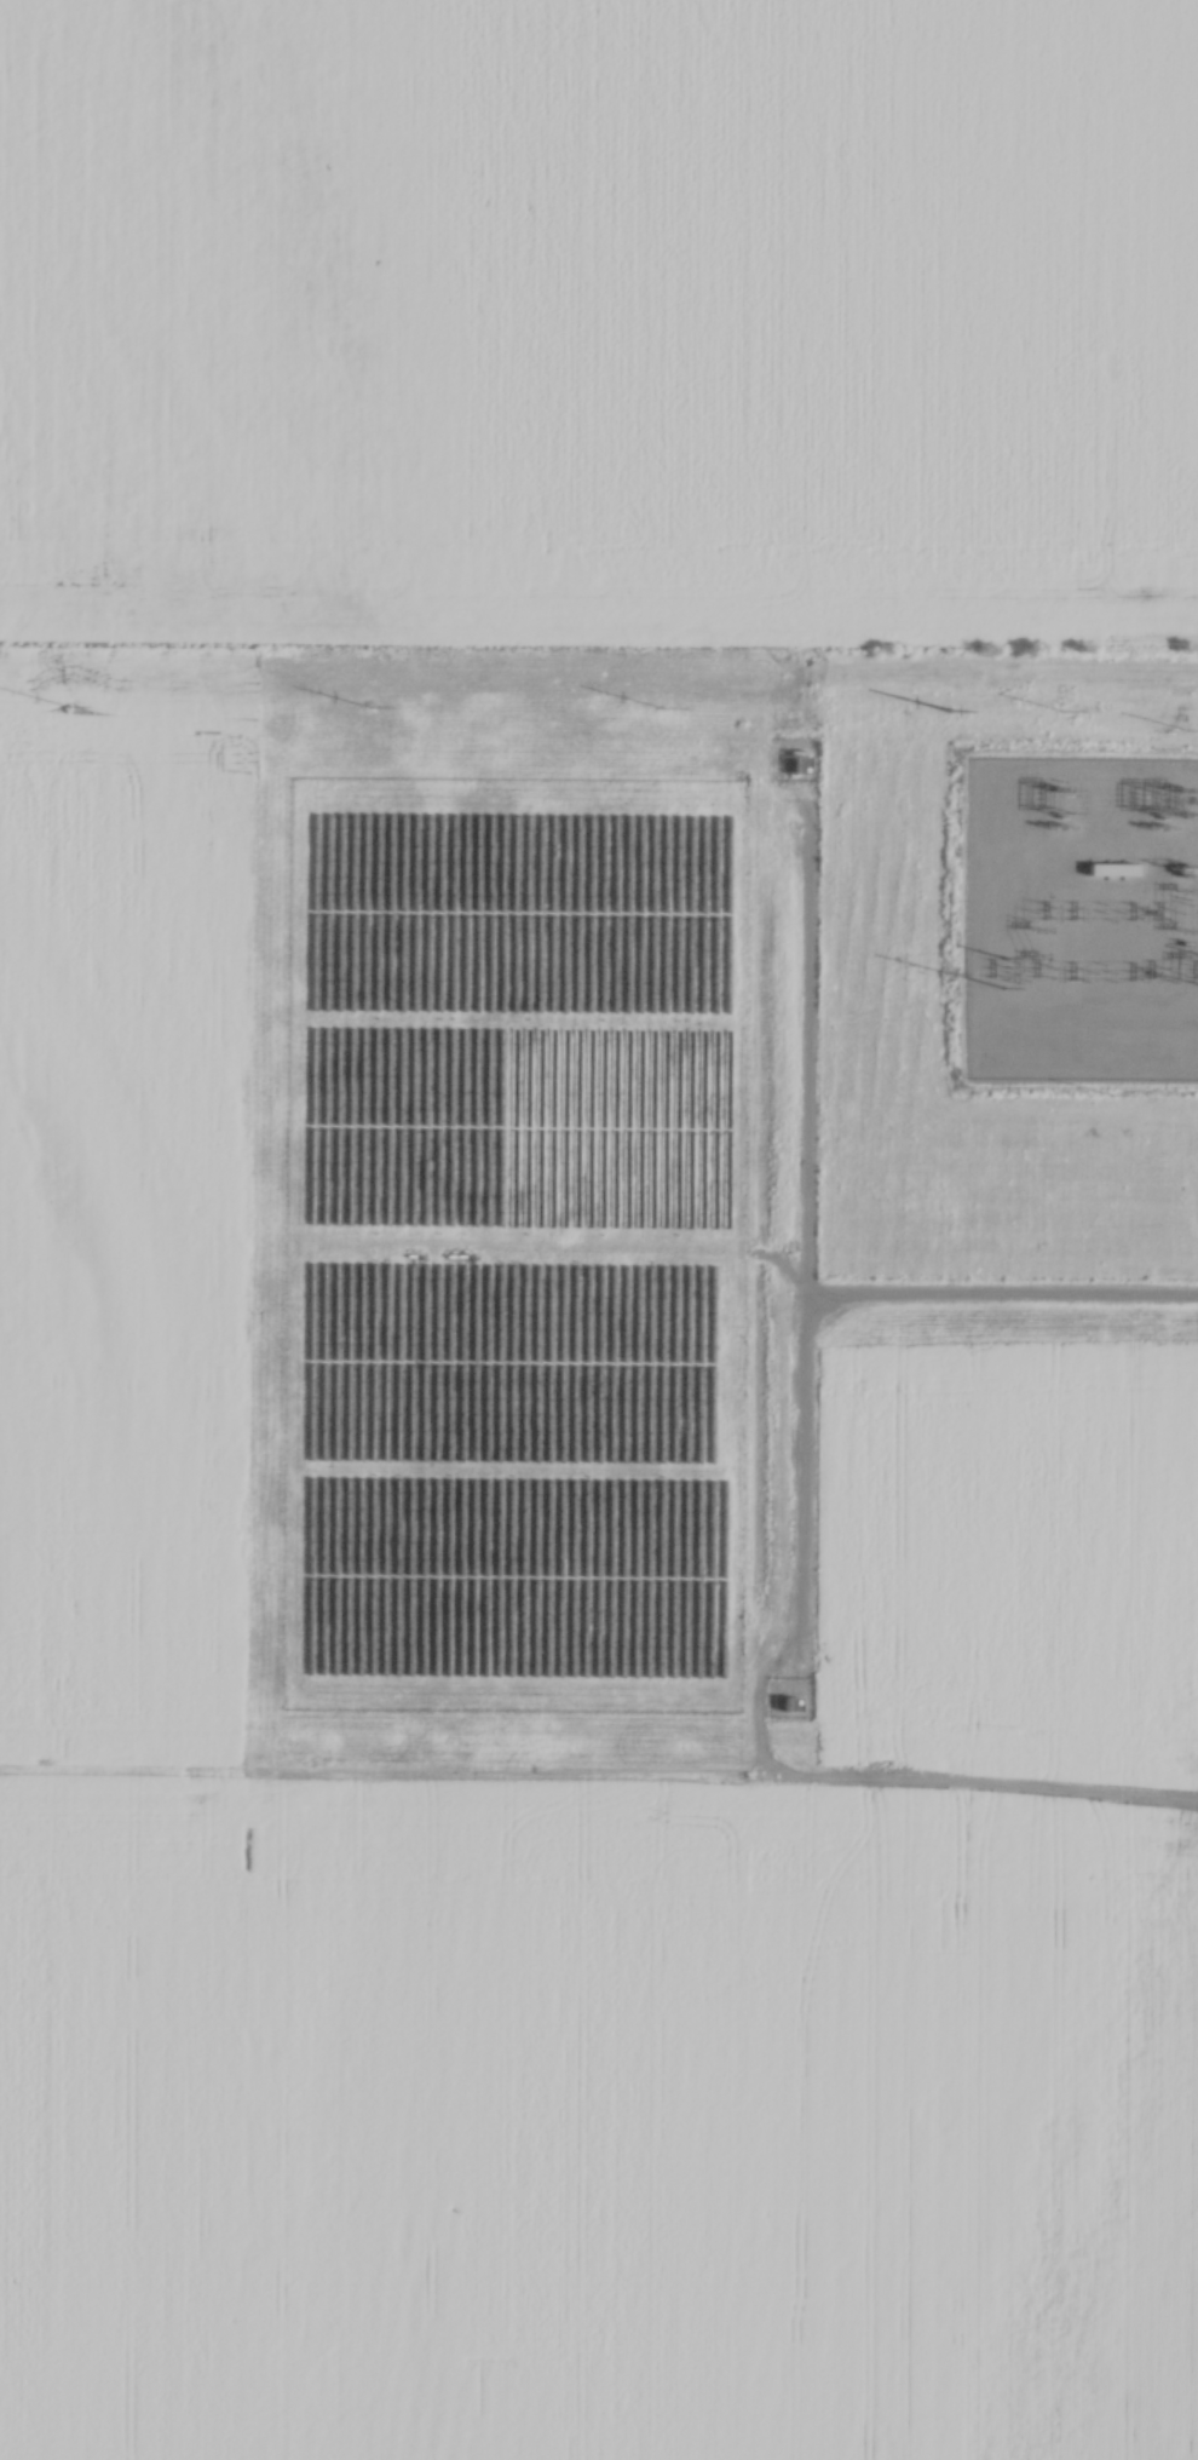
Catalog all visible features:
power substation: (1082, 915)
crop: (120, 995)
solar farm: (514, 1251)
road: (805, 1268)
road: (1002, 1297)
road: (599, 1775)

